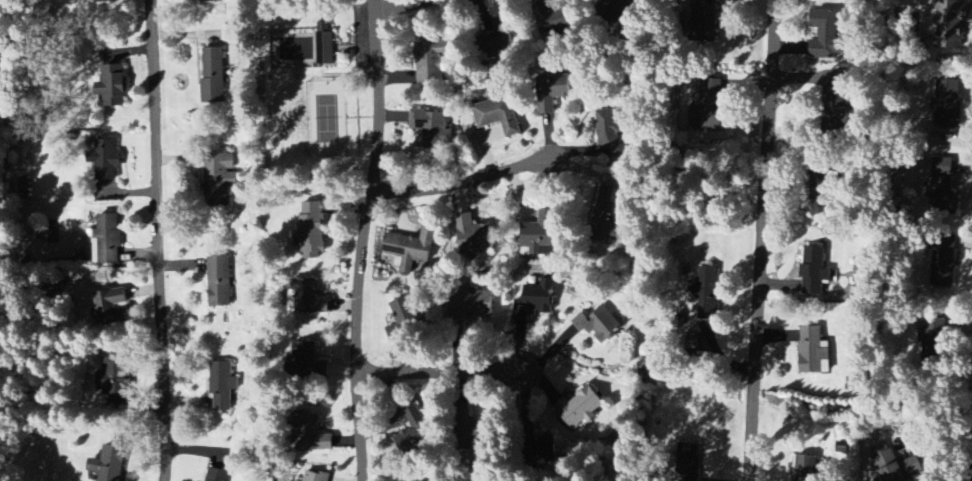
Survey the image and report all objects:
building: (105, 0)
building: (207, 0)
road: (405, 6)
building: (620, 7)
building: (705, 23)
building: (948, 23)
building: (826, 36)
building: (499, 40)
building: (325, 50)
building: (430, 61)
building: (213, 75)
building: (113, 85)
building: (552, 90)
building: (948, 103)
building: (709, 106)
building: (838, 109)
building: (498, 116)
park: (307, 118)
building: (432, 129)
building: (610, 134)
building: (105, 159)
building: (219, 178)
road: (459, 181)
building: (942, 185)
building: (819, 192)
building: (606, 214)
building: (311, 230)
building: (540, 235)
building: (473, 238)
building: (107, 240)
road: (156, 240)
road: (364, 240)
road: (772, 241)
building: (411, 248)
building: (943, 265)
building: (814, 271)
building: (219, 282)
building: (706, 293)
building: (534, 301)
building: (471, 305)
building: (112, 307)
building: (404, 317)
building: (598, 324)
building: (700, 344)
building: (812, 351)
building: (308, 361)
road: (443, 373)
building: (222, 385)
building: (579, 408)
building: (413, 431)
building: (311, 434)
building: (688, 460)
building: (109, 464)
building: (894, 464)
building: (216, 475)
building: (315, 476)

